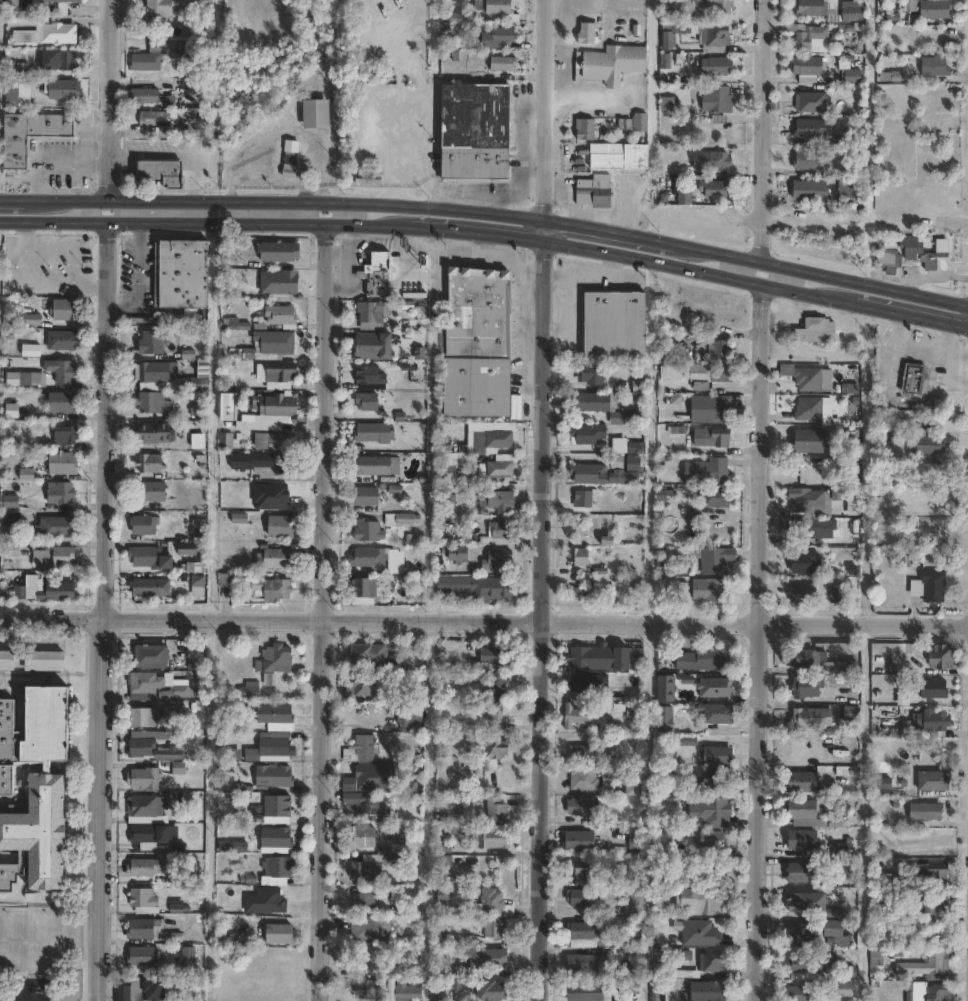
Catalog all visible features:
building: (12, 4)
building: (698, 4)
building: (63, 5)
building: (912, 6)
building: (168, 7)
building: (501, 7)
building: (725, 8)
building: (821, 10)
building: (938, 10)
building: (854, 12)
building: (22, 24)
building: (589, 34)
building: (57, 35)
building: (718, 36)
building: (25, 38)
building: (810, 38)
building: (496, 39)
road: (595, 46)
building: (173, 48)
building: (150, 58)
building: (65, 60)
building: (505, 64)
building: (615, 64)
building: (719, 66)
building: (937, 67)
building: (810, 69)
building: (895, 76)
building: (855, 77)
building: (66, 88)
building: (26, 91)
building: (145, 96)
road: (109, 98)
building: (720, 99)
building: (813, 101)
building: (670, 104)
road: (543, 108)
building: (316, 113)
building: (153, 117)
building: (639, 122)
building: (587, 128)
building: (812, 128)
road: (764, 130)
building: (479, 131)
building: (31, 134)
building: (621, 155)
building: (291, 158)
building: (814, 159)
road: (409, 160)
building: (719, 161)
building: (163, 172)
building: (718, 188)
building: (809, 190)
building: (596, 191)
road: (10, 196)
building: (687, 198)
road: (282, 200)
road: (230, 220)
road: (543, 227)
road: (607, 229)
road: (501, 232)
building: (915, 246)
building: (281, 252)
building: (891, 260)
building: (937, 262)
building: (126, 263)
road: (720, 272)
road: (819, 272)
building: (183, 274)
building: (379, 275)
building: (281, 282)
building: (67, 309)
building: (372, 311)
building: (278, 317)
road: (932, 317)
building: (236, 324)
building: (619, 325)
building: (819, 330)
building: (65, 340)
building: (154, 342)
building: (480, 345)
building: (270, 346)
building: (371, 346)
building: (722, 349)
building: (32, 350)
building: (65, 372)
building: (157, 372)
building: (700, 373)
building: (593, 374)
building: (281, 376)
building: (372, 377)
building: (20, 378)
building: (810, 379)
building: (916, 379)
building: (198, 384)
building: (228, 400)
building: (368, 401)
building: (63, 403)
building: (154, 403)
building: (596, 403)
building: (202, 409)
building: (276, 409)
building: (718, 409)
building: (811, 409)
building: (632, 415)
building: (491, 427)
building: (156, 432)
building: (376, 433)
building: (890, 433)
building: (589, 434)
building: (66, 436)
building: (718, 437)
building: (501, 439)
building: (227, 440)
building: (276, 441)
building: (811, 441)
building: (199, 442)
building: (479, 445)
building: (930, 445)
building: (638, 447)
building: (264, 462)
building: (64, 463)
building: (151, 463)
building: (454, 463)
building: (636, 464)
building: (379, 466)
building: (503, 466)
building: (709, 471)
building: (590, 474)
building: (928, 478)
building: (153, 492)
building: (61, 493)
building: (367, 496)
building: (448, 497)
building: (717, 497)
building: (587, 499)
building: (806, 499)
building: (501, 501)
building: (12, 502)
building: (852, 504)
building: (694, 516)
building: (403, 519)
building: (13, 520)
building: (60, 525)
building: (147, 526)
building: (283, 527)
building: (821, 529)
building: (370, 531)
building: (503, 531)
building: (606, 540)
building: (11, 550)
building: (189, 550)
building: (459, 554)
building: (147, 557)
building: (581, 557)
building: (55, 558)
building: (370, 558)
building: (276, 559)
building: (500, 561)
building: (713, 561)
building: (807, 562)
building: (193, 566)
building: (197, 585)
building: (936, 586)
building: (148, 588)
building: (478, 588)
building: (273, 590)
building: (711, 590)
building: (59, 592)
building: (365, 592)
building: (586, 594)
building: (805, 594)
road: (104, 609)
road: (323, 611)
road: (484, 616)
road: (542, 619)
road: (760, 641)
building: (151, 655)
building: (371, 656)
building: (946, 657)
building: (274, 658)
building: (809, 659)
building: (6, 660)
building: (43, 660)
building: (495, 660)
building: (603, 660)
building: (710, 660)
building: (835, 669)
building: (854, 669)
building: (149, 684)
building: (583, 684)
building: (708, 686)
building: (372, 687)
building: (665, 687)
building: (500, 688)
building: (248, 689)
building: (809, 689)
building: (933, 689)
building: (176, 691)
building: (273, 713)
building: (854, 713)
building: (720, 714)
building: (411, 716)
building: (143, 717)
building: (577, 717)
building: (500, 718)
building: (813, 719)
building: (666, 720)
building: (928, 725)
building: (149, 742)
building: (270, 746)
building: (362, 750)
building: (496, 750)
building: (583, 751)
building: (167, 753)
building: (229, 754)
building: (720, 756)
building: (274, 775)
building: (144, 778)
building: (586, 780)
building: (936, 781)
building: (716, 782)
building: (805, 783)
building: (34, 788)
building: (632, 789)
building: (145, 805)
building: (581, 807)
road: (206, 808)
road: (428, 808)
building: (277, 809)
building: (367, 809)
building: (805, 810)
building: (499, 811)
building: (928, 812)
building: (719, 813)
building: (811, 824)
building: (151, 835)
building: (367, 837)
building: (637, 838)
building: (492, 839)
building: (275, 840)
building: (805, 840)
building: (396, 841)
building: (714, 841)
building: (580, 842)
building: (844, 850)
building: (144, 867)
building: (277, 870)
building: (367, 872)
building: (579, 872)
building: (716, 872)
building: (805, 873)
building: (940, 874)
building: (894, 880)
building: (446, 896)
building: (143, 899)
building: (581, 899)
building: (265, 900)
building: (365, 903)
building: (706, 903)
building: (938, 905)
building: (814, 906)
building: (495, 914)
building: (143, 928)
building: (836, 929)
building: (372, 931)
building: (593, 932)
building: (700, 932)
building: (178, 933)
building: (280, 934)
building: (802, 934)
building: (189, 956)
building: (879, 957)
building: (144, 959)
building: (488, 961)
building: (713, 961)
building: (584, 963)
building: (931, 966)
building: (807, 971)
building: (689, 973)
building: (456, 983)
building: (632, 986)
building: (848, 988)
building: (146, 989)
building: (373, 989)
building: (493, 990)
building: (710, 990)
building: (407, 991)
building: (121, 992)
building: (800, 992)
building: (930, 992)
building: (588, 993)

